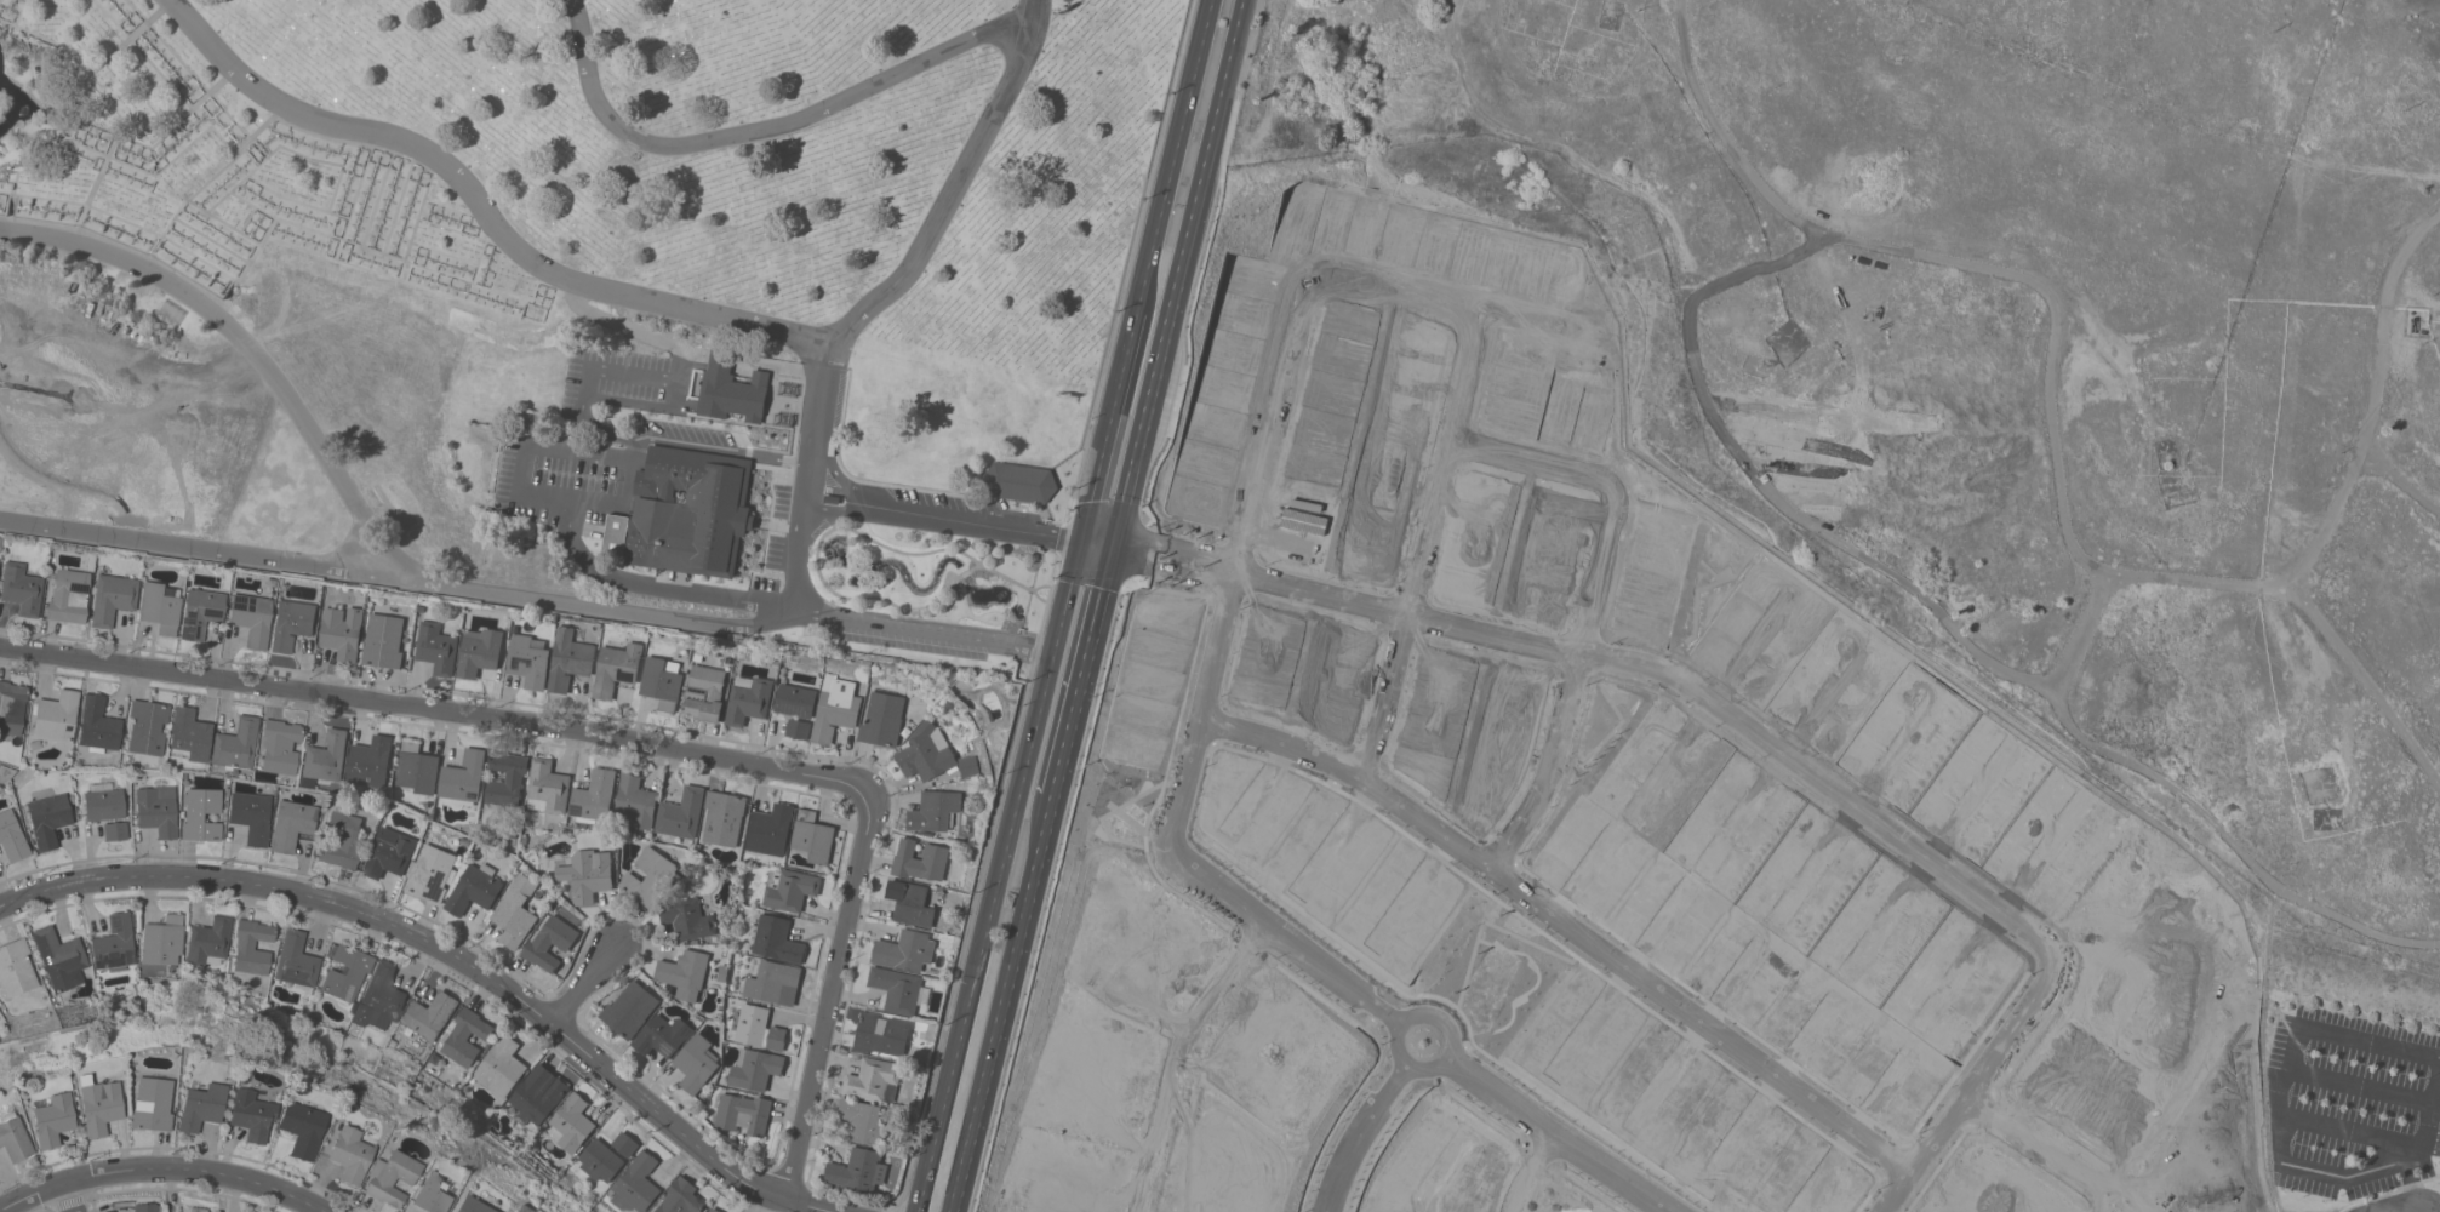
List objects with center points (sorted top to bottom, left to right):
road: (1034, 11)
road: (761, 128)
road: (950, 194)
road: (1162, 206)
road: (1949, 258)
road: (1177, 274)
park: (579, 302)
road: (680, 304)
road: (617, 320)
road: (629, 373)
building: (731, 389)
road: (1275, 393)
road: (2373, 399)
building: (535, 422)
building: (482, 434)
road: (549, 445)
road: (687, 446)
building: (486, 469)
road: (1096, 478)
building: (1021, 482)
road: (624, 491)
road: (1605, 491)
road: (547, 492)
parking lot: (949, 503)
road: (359, 511)
building: (684, 515)
building: (1304, 520)
road: (1177, 541)
traffic signals: (1080, 543)
road: (196, 544)
traffic signals: (1110, 548)
road: (1181, 558)
road: (1170, 570)
road: (656, 587)
building: (21, 588)
building: (69, 595)
building: (113, 598)
building: (160, 606)
building: (200, 612)
road: (2312, 613)
building: (251, 617)
road: (868, 618)
building: (292, 623)
building: (343, 631)
parking lot: (907, 640)
building: (383, 641)
building: (436, 647)
building: (479, 651)
building: (528, 659)
building: (568, 659)
building: (616, 668)
road: (1080, 670)
building: (661, 684)
building: (705, 693)
road: (1389, 693)
building: (748, 701)
building: (795, 701)
building: (11, 707)
building: (835, 708)
road: (442, 715)
building: (56, 716)
building: (882, 719)
building: (98, 725)
building: (147, 726)
building: (799, 728)
building: (189, 734)
building: (235, 743)
building: (280, 745)
building: (926, 753)
road: (1552, 755)
building: (326, 756)
building: (370, 761)
building: (968, 765)
building: (417, 768)
building: (464, 776)
building: (507, 778)
road: (1021, 781)
building: (548, 788)
building: (594, 796)
building: (635, 802)
building: (104, 804)
building: (156, 810)
building: (933, 811)
building: (200, 813)
building: (681, 813)
building: (251, 814)
building: (724, 818)
building: (47, 819)
building: (291, 824)
building: (115, 830)
building: (770, 830)
building: (11, 836)
building: (813, 836)
building: (341, 839)
building: (389, 852)
building: (920, 861)
road: (1943, 869)
building: (432, 873)
building: (592, 875)
building: (650, 876)
building: (475, 888)
building: (789, 888)
building: (912, 903)
building: (516, 911)
building: (687, 917)
building: (162, 939)
building: (776, 939)
building: (208, 941)
building: (114, 942)
building: (550, 943)
building: (252, 945)
building: (905, 950)
building: (59, 956)
road: (445, 956)
building: (296, 962)
building: (16, 967)
road: (1008, 972)
road: (1335, 972)
building: (685, 973)
building: (345, 974)
building: (771, 979)
road: (585, 984)
building: (898, 989)
building: (379, 997)
road: (828, 1005)
building: (630, 1010)
building: (430, 1014)
road: (1698, 1019)
building: (758, 1027)
building: (881, 1034)
building: (663, 1035)
building: (467, 1036)
road: (2371, 1040)
road: (1176, 1051)
road: (1438, 1058)
building: (696, 1063)
building: (501, 1067)
building: (755, 1068)
building: (874, 1080)
road: (948, 1081)
road: (2361, 1085)
building: (538, 1098)
parking lot: (2350, 1102)
building: (152, 1103)
building: (98, 1104)
building: (200, 1105)
building: (744, 1113)
road: (2432, 1113)
building: (251, 1114)
building: (52, 1119)
building: (864, 1121)
building: (570, 1124)
building: (301, 1127)
road: (1358, 1130)
road: (2350, 1130)
road: (1558, 1133)
building: (13, 1137)
building: (625, 1144)
road: (949, 1145)
building: (349, 1153)
building: (600, 1160)
road: (161, 1167)
building: (858, 1170)
road: (2318, 1170)
building: (389, 1177)
road: (925, 1177)
road: (958, 1180)
building: (636, 1183)
road: (128, 1188)
road: (227, 1195)
building: (434, 1195)
road: (68, 1196)
building: (681, 1197)
road: (69, 1202)
road: (92, 1205)
building: (480, 1205)
building: (145, 1207)
road: (910, 1207)
building: (198, 1208)
road: (46, 1210)
building: (714, 1210)
road: (42, 1211)

